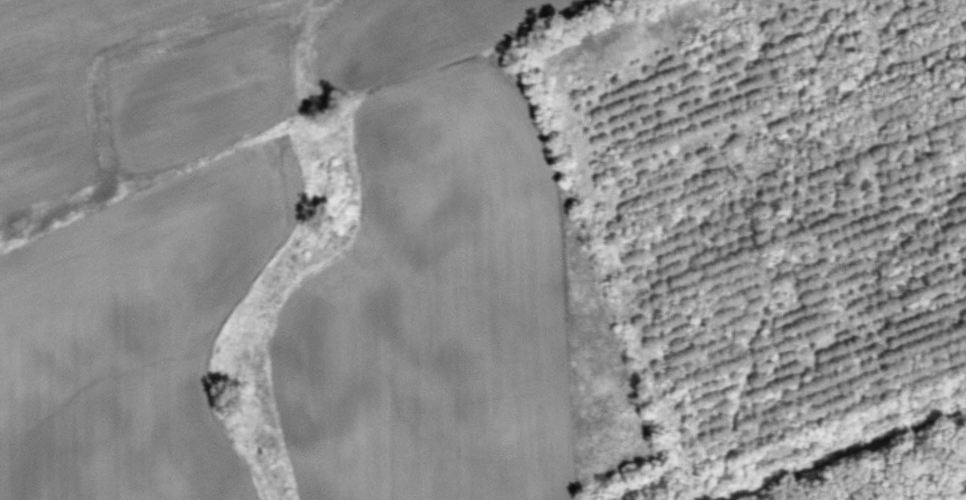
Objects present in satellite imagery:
road: (844, 7)
park: (752, 247)
road: (774, 256)
road: (858, 465)

